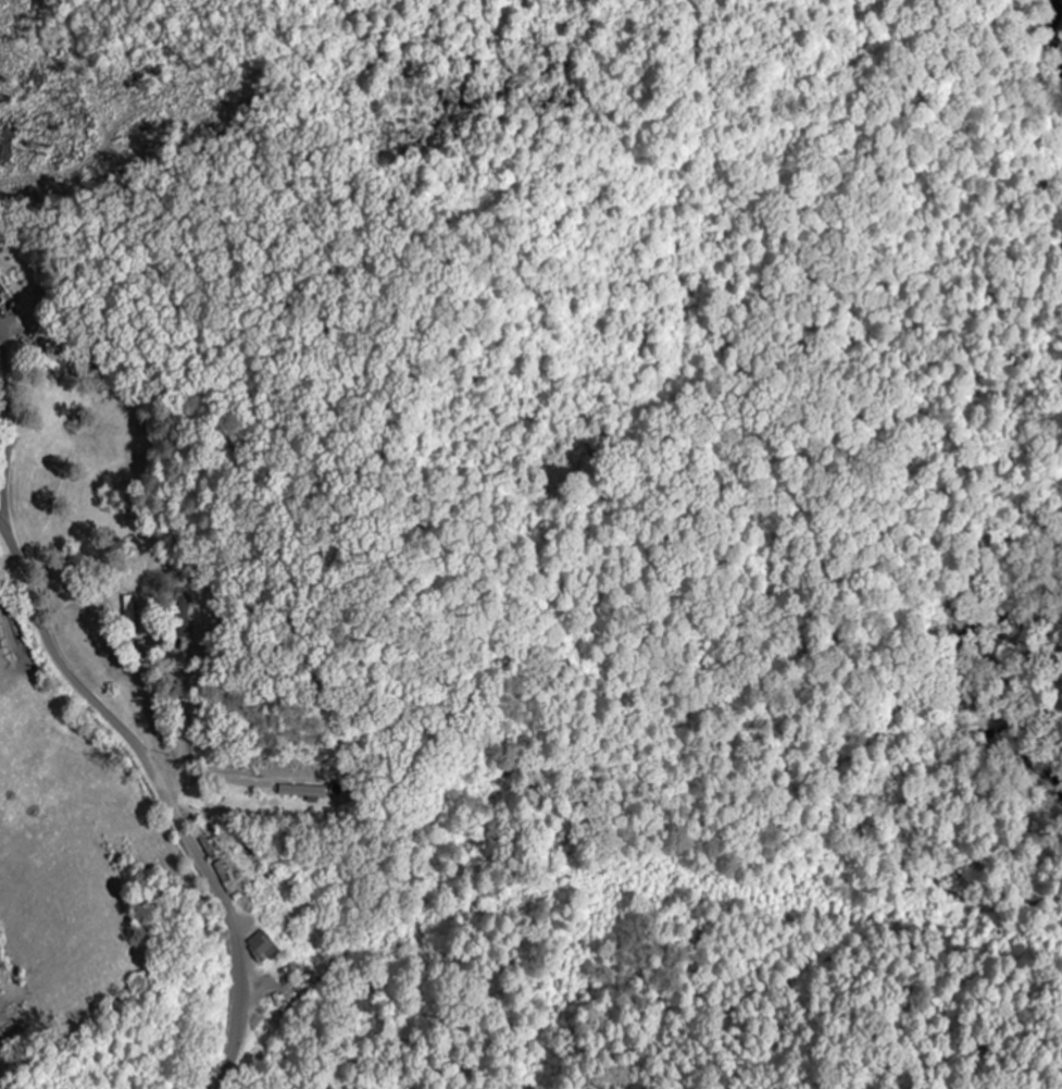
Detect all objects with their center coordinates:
building: (0, 302)
building: (132, 618)
road: (163, 792)
building: (299, 792)
building: (263, 948)

